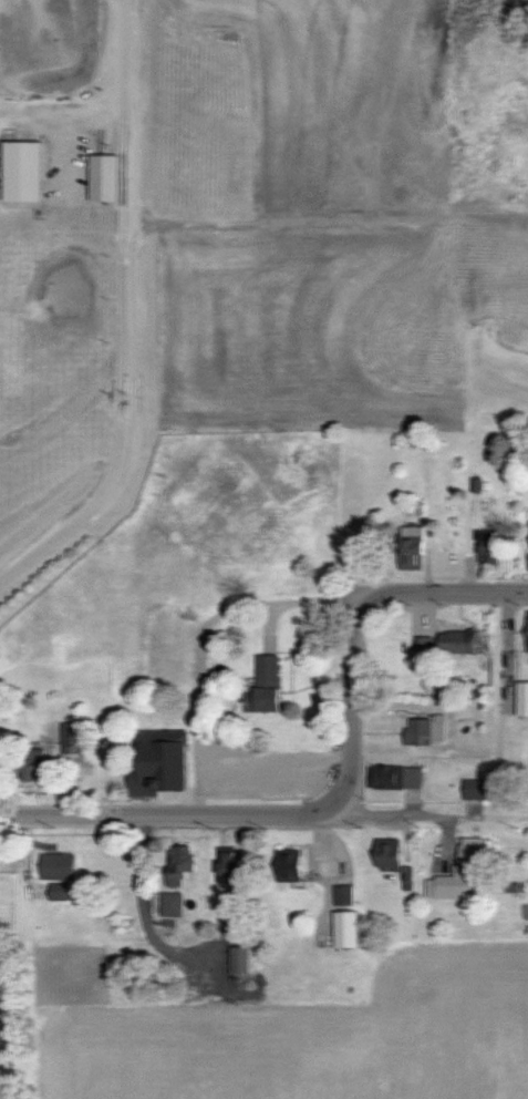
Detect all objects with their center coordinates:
building: (21, 171)
building: (102, 178)
road: (123, 317)
building: (410, 547)
building: (488, 547)
road: (448, 594)
road: (201, 635)
building: (526, 636)
building: (445, 644)
building: (263, 686)
building: (521, 699)
road: (351, 705)
building: (424, 731)
building: (72, 738)
building: (161, 764)
building: (31, 766)
building: (394, 778)
building: (475, 790)
road: (175, 816)
road: (389, 816)
road: (466, 818)
building: (386, 854)
building: (182, 864)
building: (59, 866)
building: (229, 866)
building: (290, 866)
building: (459, 875)
building: (58, 892)
building: (342, 896)
building: (174, 904)
building: (345, 931)
road: (218, 932)
building: (241, 961)

